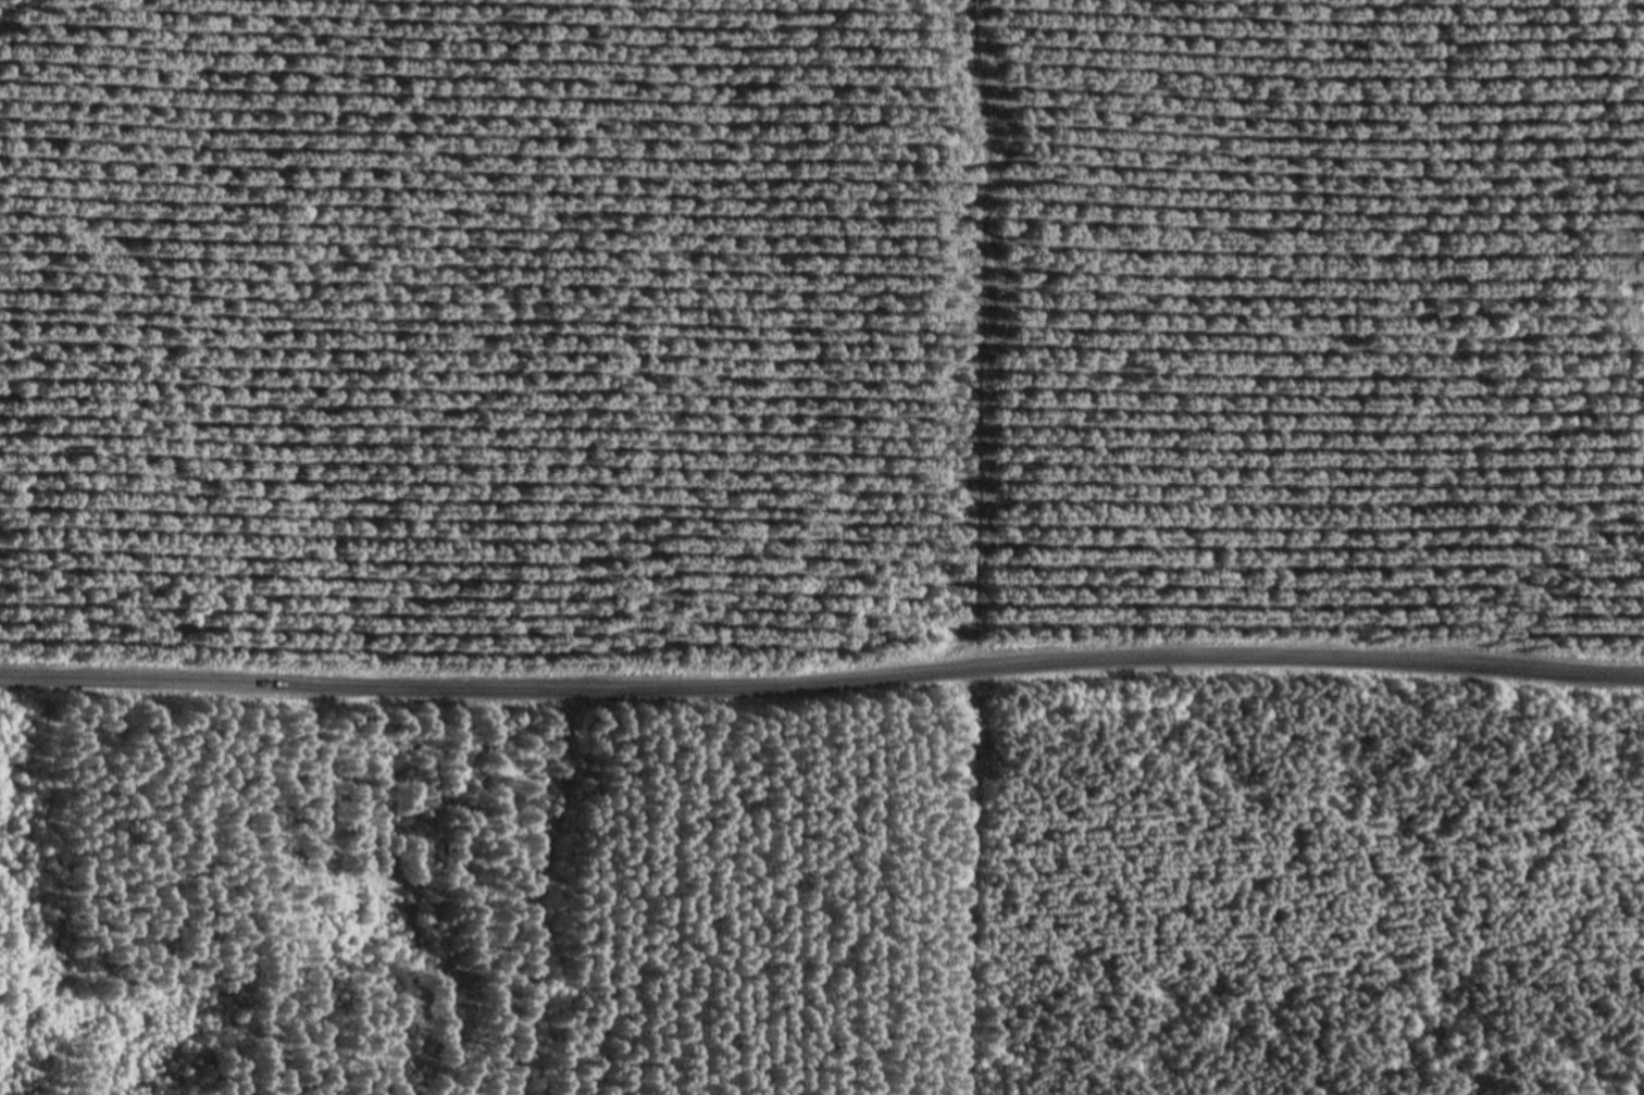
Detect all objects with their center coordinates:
road: (822, 694)

